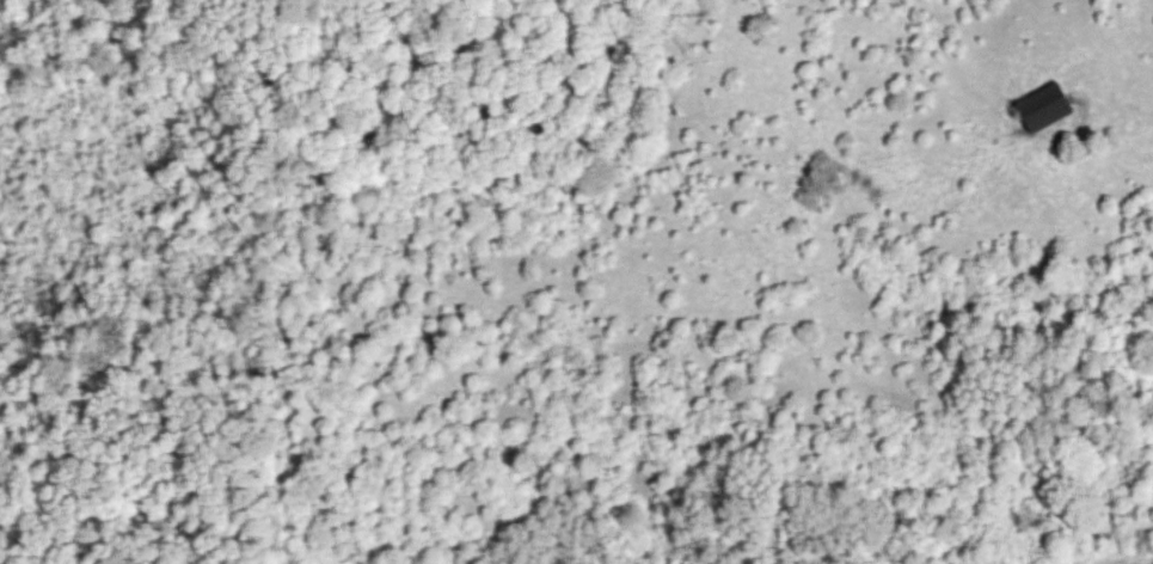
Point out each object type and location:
building: (1050, 108)

